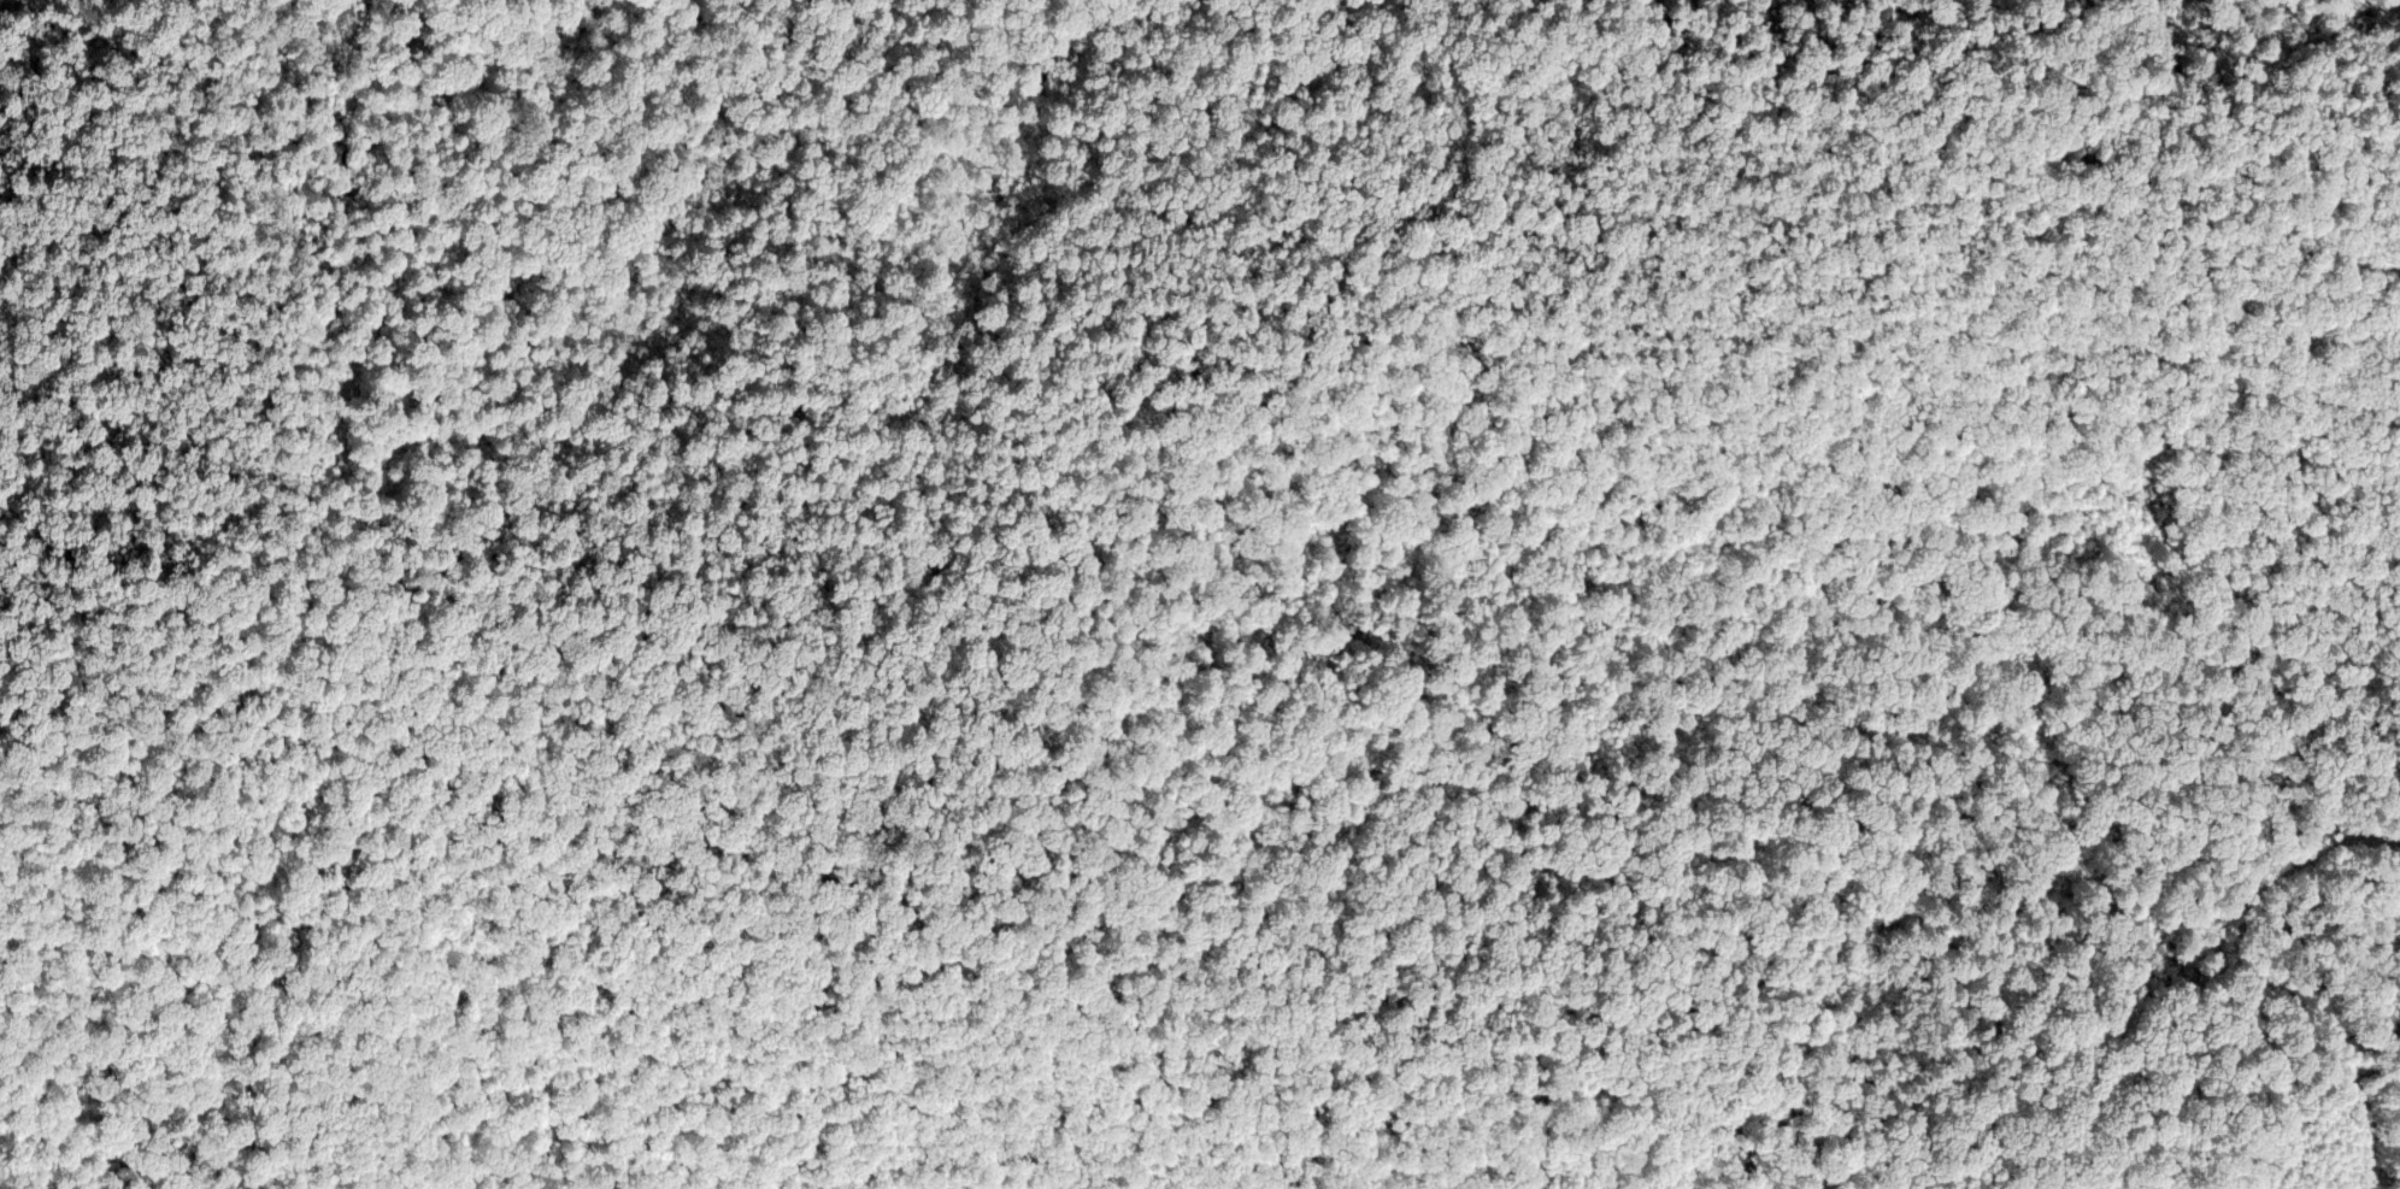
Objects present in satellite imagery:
road: (2251, 976)

